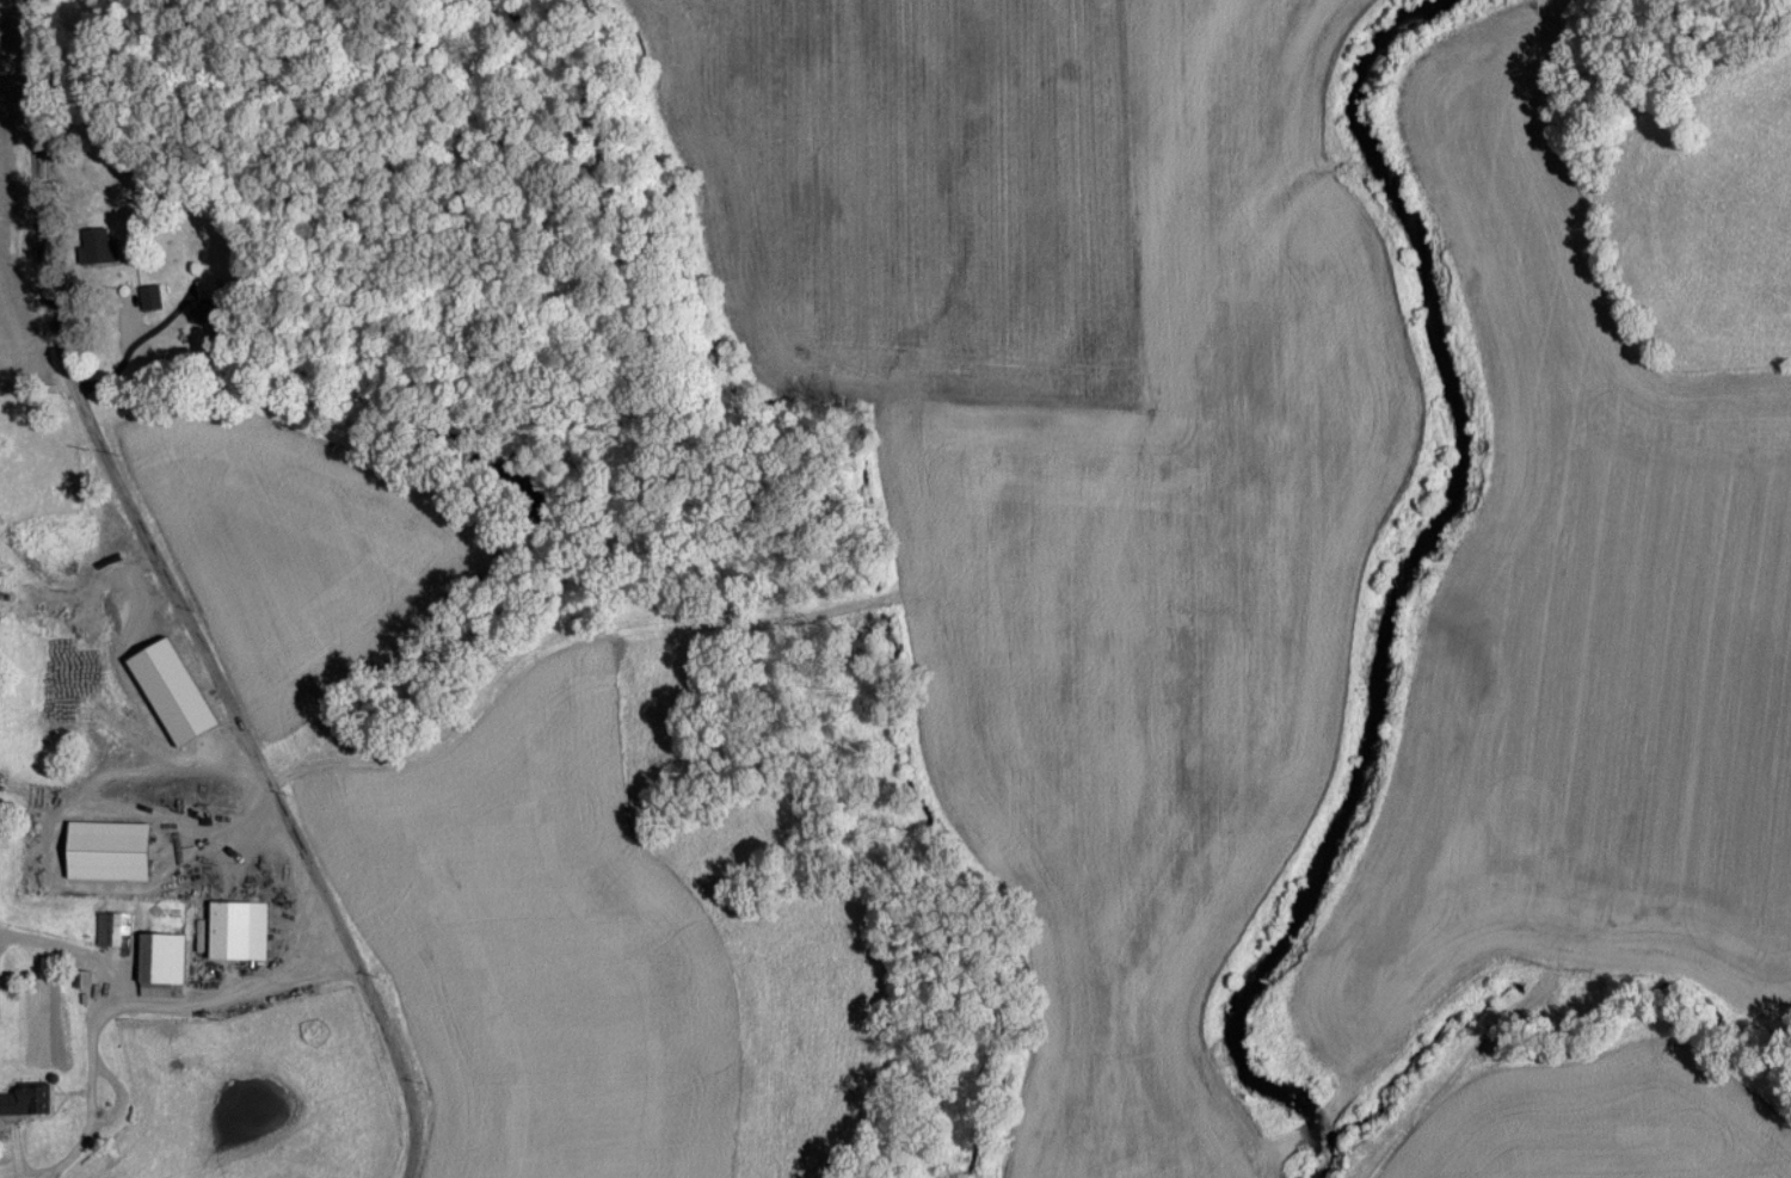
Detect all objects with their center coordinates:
building: (96, 246)
building: (216, 288)
building: (147, 296)
road: (178, 599)
building: (167, 690)
building: (103, 850)
building: (109, 927)
building: (234, 930)
building: (156, 964)
building: (20, 1100)

